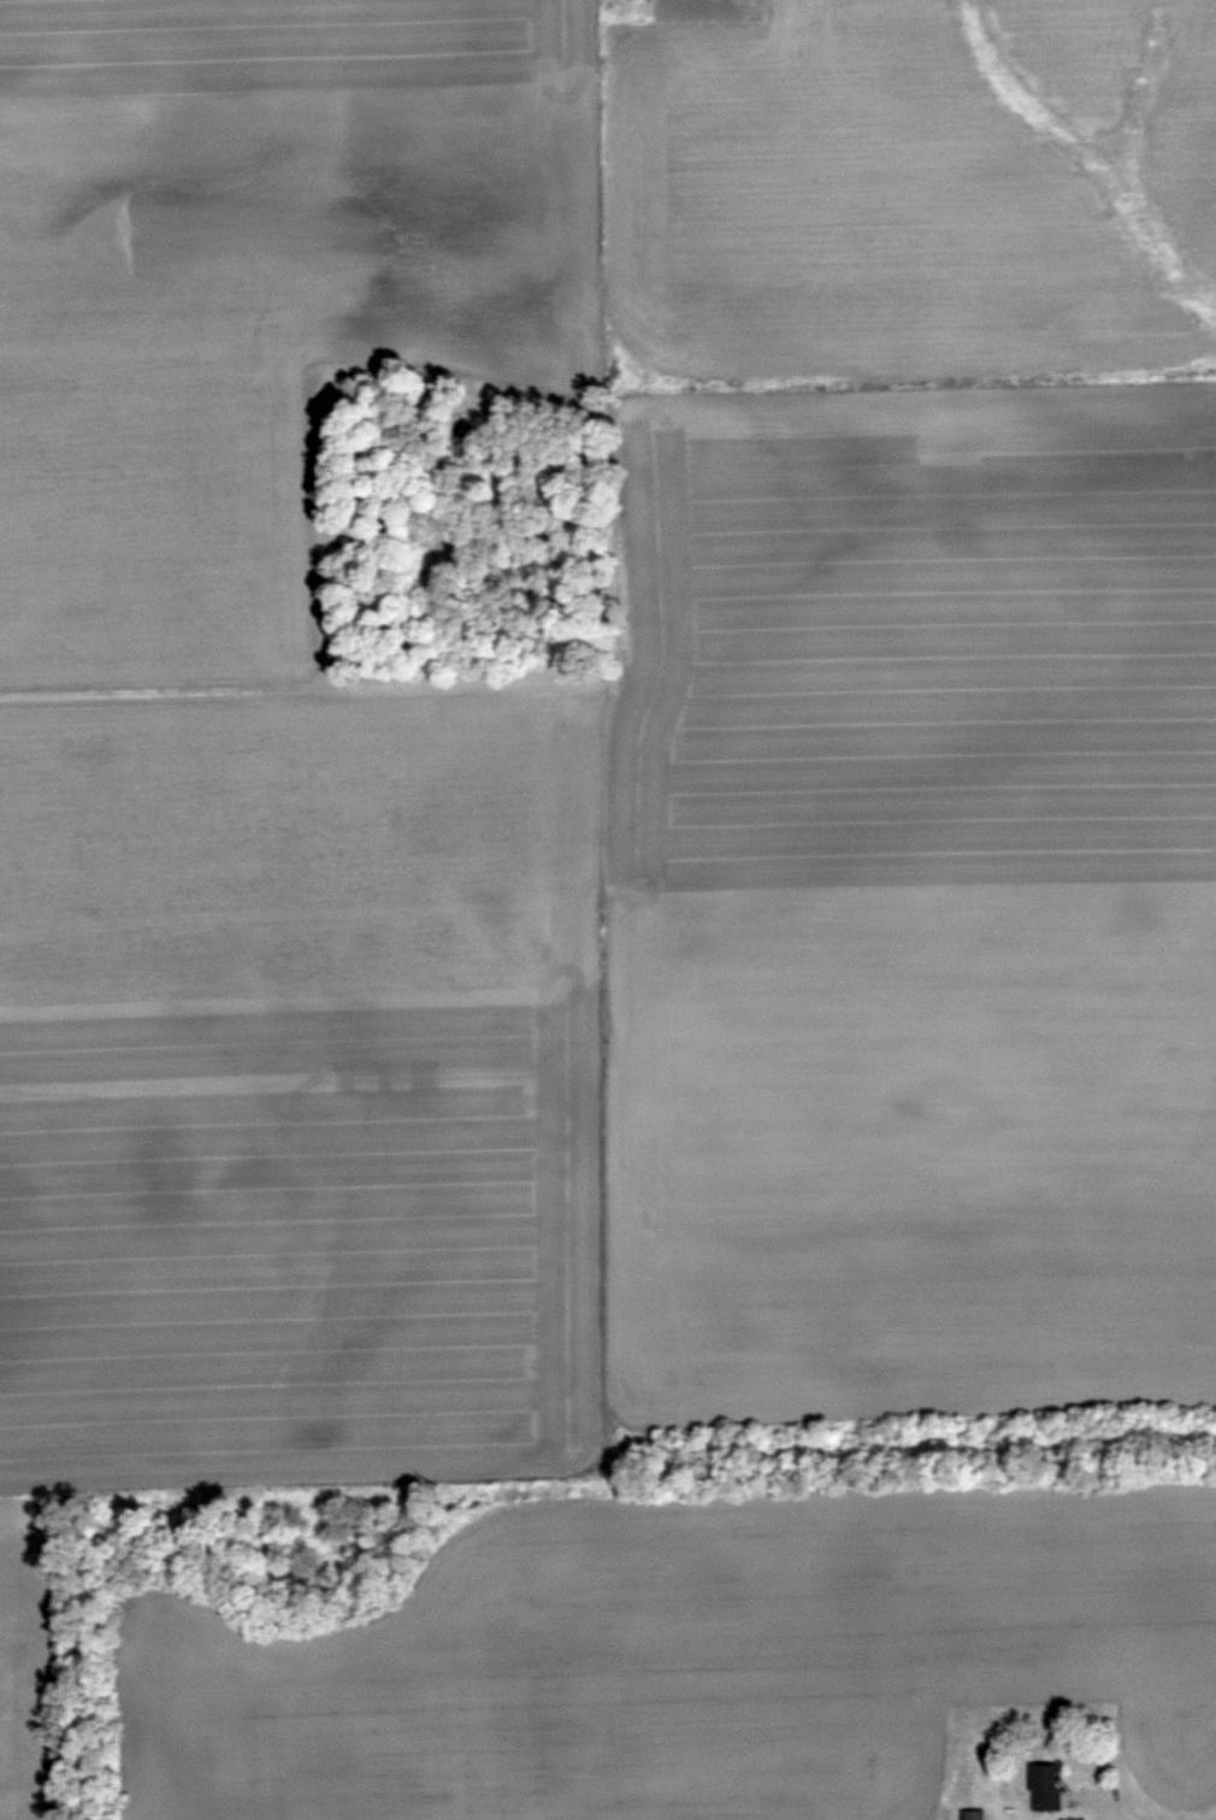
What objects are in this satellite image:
building: (1045, 1786)
road: (1098, 1809)
building: (972, 1814)
road: (1210, 1815)

